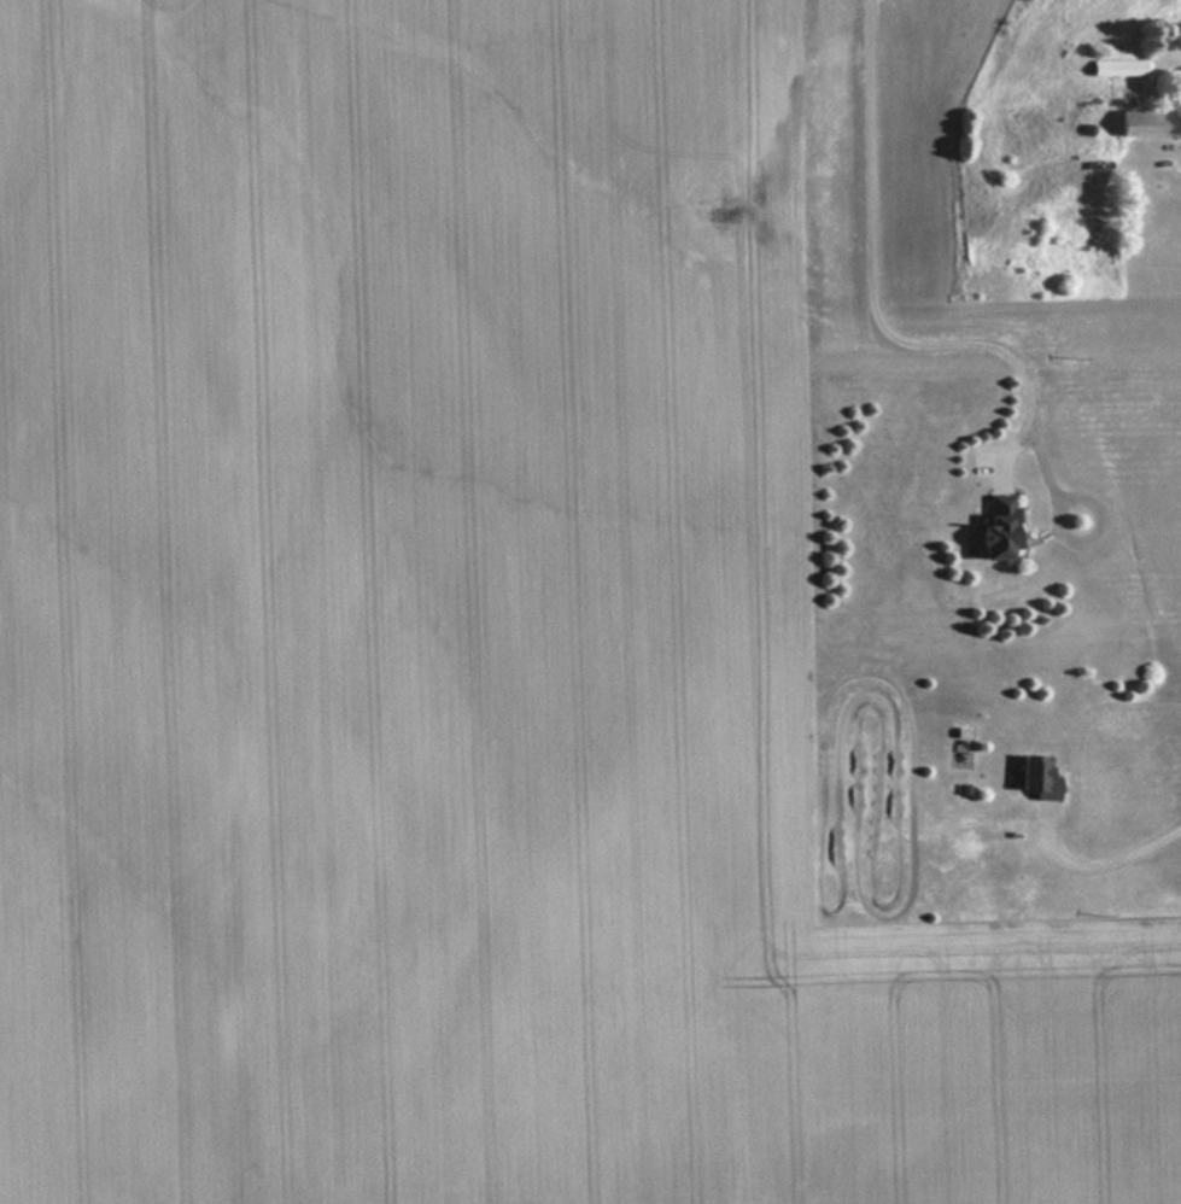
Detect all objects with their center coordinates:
building: (1119, 69)
building: (1144, 123)
road: (877, 322)
building: (999, 525)
building: (1039, 776)
road: (1098, 859)

